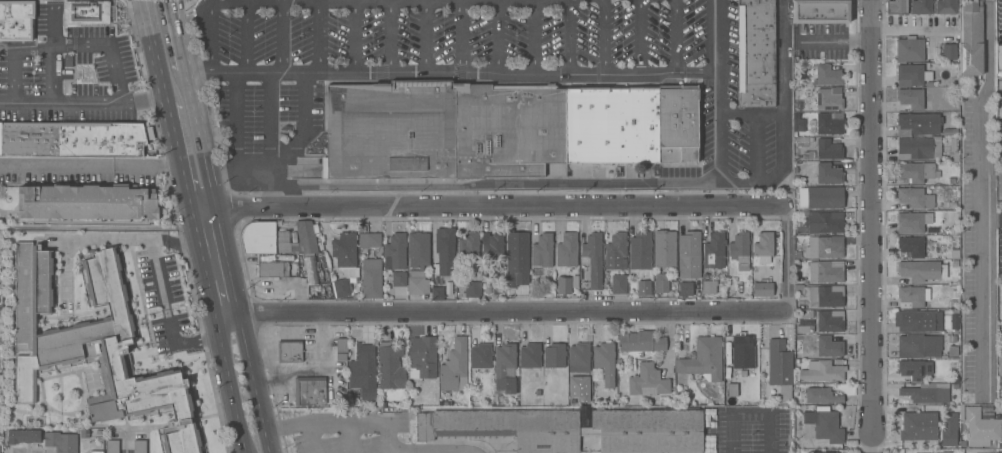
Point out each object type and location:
road: (550, 0)
road: (278, 1)
road: (337, 2)
building: (897, 7)
building: (921, 7)
building: (945, 7)
building: (821, 11)
building: (86, 12)
building: (16, 21)
road: (178, 35)
road: (460, 35)
road: (497, 36)
road: (605, 36)
road: (675, 36)
road: (318, 37)
road: (355, 37)
road: (390, 37)
road: (425, 37)
road: (533, 37)
road: (567, 37)
road: (641, 37)
road: (246, 38)
road: (281, 38)
building: (970, 38)
road: (832, 43)
building: (909, 50)
road: (50, 51)
road: (60, 52)
road: (156, 52)
building: (948, 52)
building: (756, 53)
building: (998, 57)
road: (452, 72)
building: (912, 75)
building: (827, 76)
parking lot: (72, 77)
road: (13, 78)
building: (911, 98)
building: (829, 99)
road: (66, 103)
road: (750, 112)
road: (235, 118)
road: (270, 120)
building: (612, 123)
building: (829, 123)
building: (678, 124)
building: (917, 124)
building: (801, 125)
road: (173, 126)
building: (390, 130)
building: (508, 130)
building: (0, 139)
building: (73, 139)
road: (294, 141)
building: (953, 145)
building: (919, 148)
building: (828, 149)
building: (809, 155)
building: (953, 157)
road: (92, 167)
building: (991, 170)
building: (916, 171)
building: (828, 173)
road: (184, 180)
building: (952, 182)
road: (748, 183)
road: (483, 184)
road: (210, 191)
building: (825, 197)
road: (269, 199)
building: (914, 199)
road: (986, 200)
building: (87, 203)
building: (952, 206)
road: (499, 207)
road: (203, 212)
building: (823, 222)
building: (912, 222)
road: (867, 224)
building: (950, 230)
road: (123, 238)
building: (276, 238)
building: (369, 240)
building: (492, 244)
building: (468, 245)
building: (911, 246)
road: (199, 247)
building: (763, 247)
building: (824, 247)
building: (516, 248)
building: (665, 248)
building: (418, 249)
building: (542, 250)
building: (567, 250)
building: (714, 250)
building: (739, 250)
building: (640, 251)
building: (395, 252)
building: (445, 252)
building: (616, 252)
building: (689, 254)
building: (592, 258)
road: (784, 259)
building: (344, 263)
building: (272, 269)
building: (311, 270)
building: (921, 270)
building: (825, 271)
building: (371, 278)
building: (399, 279)
road: (65, 280)
building: (661, 282)
building: (417, 283)
building: (618, 284)
building: (564, 285)
building: (643, 287)
building: (709, 287)
building: (685, 289)
building: (763, 289)
building: (302, 290)
building: (470, 290)
building: (437, 293)
building: (955, 294)
building: (821, 295)
road: (211, 298)
parking lot: (167, 299)
building: (953, 303)
building: (915, 311)
road: (510, 313)
road: (226, 314)
road: (67, 321)
building: (830, 321)
road: (169, 322)
building: (955, 323)
road: (217, 325)
building: (804, 327)
building: (1001, 334)
building: (640, 342)
building: (94, 346)
building: (829, 346)
building: (918, 346)
building: (341, 349)
building: (290, 351)
building: (742, 351)
building: (952, 351)
building: (554, 355)
building: (579, 355)
building: (481, 356)
building: (530, 356)
building: (421, 358)
building: (703, 360)
building: (605, 362)
building: (1000, 363)
building: (390, 366)
building: (454, 367)
building: (505, 367)
building: (780, 367)
building: (952, 368)
building: (914, 369)
building: (363, 372)
building: (822, 372)
building: (955, 379)
building: (647, 381)
road: (252, 383)
building: (732, 389)
building: (310, 391)
road: (231, 394)
building: (822, 395)
building: (926, 395)
road: (747, 411)
road: (999, 412)
road: (340, 420)
building: (825, 424)
building: (919, 426)
building: (981, 427)
building: (575, 428)
building: (948, 429)
parking lot: (751, 432)
building: (23, 436)
road: (312, 436)
parking lot: (355, 436)
road: (349, 437)
building: (61, 442)
road: (125, 445)
building: (112, 446)
building: (139, 446)
road: (431, 451)
road: (867, 451)
building: (96, 452)
road: (429, 452)
building: (828, 452)

